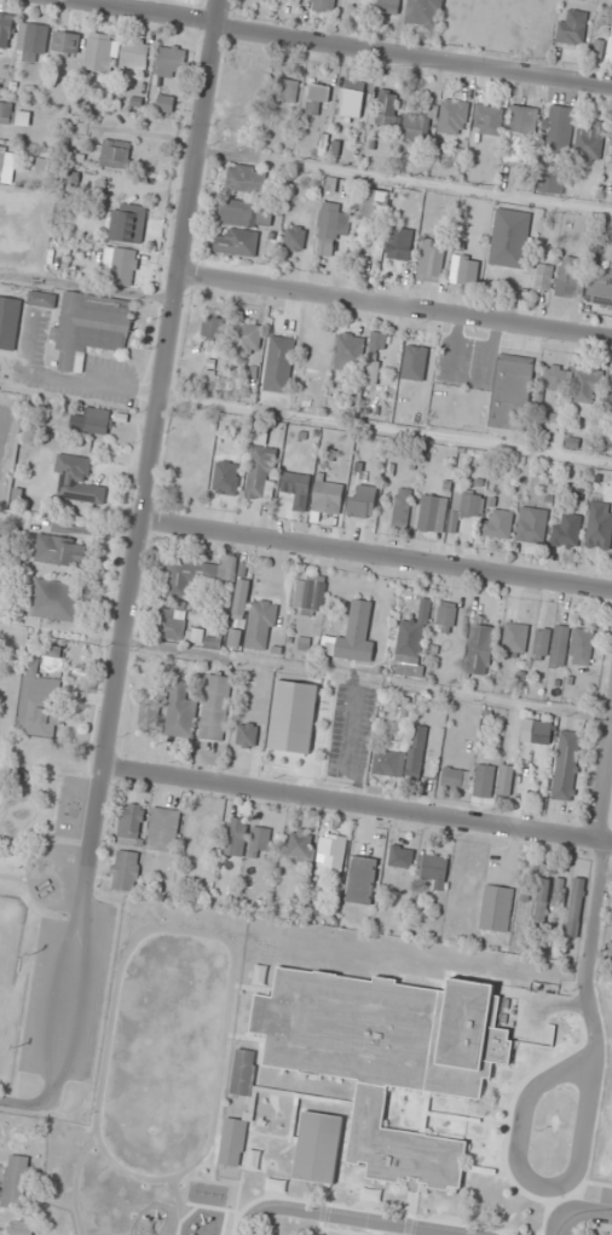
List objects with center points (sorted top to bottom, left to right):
building: (323, 5)
building: (380, 6)
building: (423, 12)
building: (572, 27)
building: (5, 35)
building: (65, 41)
building: (30, 42)
road: (336, 44)
building: (610, 47)
building: (599, 50)
building: (115, 52)
building: (169, 59)
building: (247, 86)
building: (287, 88)
building: (317, 97)
building: (352, 98)
building: (164, 103)
building: (386, 107)
building: (15, 115)
building: (454, 116)
building: (487, 119)
building: (417, 126)
building: (560, 132)
building: (520, 133)
building: (235, 137)
building: (590, 140)
building: (611, 144)
building: (115, 154)
building: (247, 179)
building: (550, 183)
building: (375, 203)
building: (246, 212)
building: (128, 223)
building: (330, 226)
building: (509, 237)
building: (296, 239)
building: (399, 243)
building: (611, 251)
building: (431, 260)
building: (123, 266)
building: (464, 269)
building: (543, 277)
building: (571, 278)
building: (600, 289)
road: (396, 306)
building: (91, 328)
building: (212, 328)
building: (248, 339)
building: (379, 340)
building: (348, 352)
building: (279, 364)
building: (210, 380)
building: (573, 387)
building: (510, 392)
building: (610, 394)
building: (94, 421)
road: (154, 453)
building: (261, 472)
building: (226, 477)
building: (77, 479)
building: (296, 488)
building: (327, 496)
building: (362, 502)
building: (467, 505)
building: (402, 506)
building: (432, 513)
building: (497, 523)
building: (531, 525)
building: (599, 525)
building: (567, 530)
building: (60, 551)
road: (377, 556)
building: (186, 575)
building: (310, 594)
building: (54, 599)
building: (446, 614)
building: (173, 624)
building: (260, 625)
building: (353, 636)
building: (233, 638)
building: (515, 638)
building: (411, 642)
building: (552, 644)
building: (582, 645)
building: (479, 649)
park: (10, 677)
building: (40, 702)
building: (215, 707)
building: (179, 711)
building: (148, 717)
building: (293, 717)
building: (536, 733)
building: (247, 734)
building: (403, 756)
building: (566, 765)
building: (455, 777)
building: (484, 780)
building: (506, 780)
road: (358, 805)
building: (131, 820)
building: (207, 827)
building: (163, 829)
building: (237, 829)
building: (259, 838)
building: (300, 845)
road: (604, 850)
building: (330, 854)
building: (400, 856)
building: (434, 869)
building: (126, 871)
building: (360, 879)
building: (543, 889)
building: (559, 891)
building: (575, 907)
building: (496, 908)
building: (610, 948)
park: (13, 973)
building: (259, 975)
building: (387, 1057)
building: (243, 1072)
road: (519, 1133)
building: (232, 1142)
building: (317, 1148)
building: (252, 1160)
building: (15, 1182)
building: (276, 1185)
building: (371, 1195)
road: (597, 1211)
road: (564, 1216)
road: (342, 1217)
building: (22, 1228)

